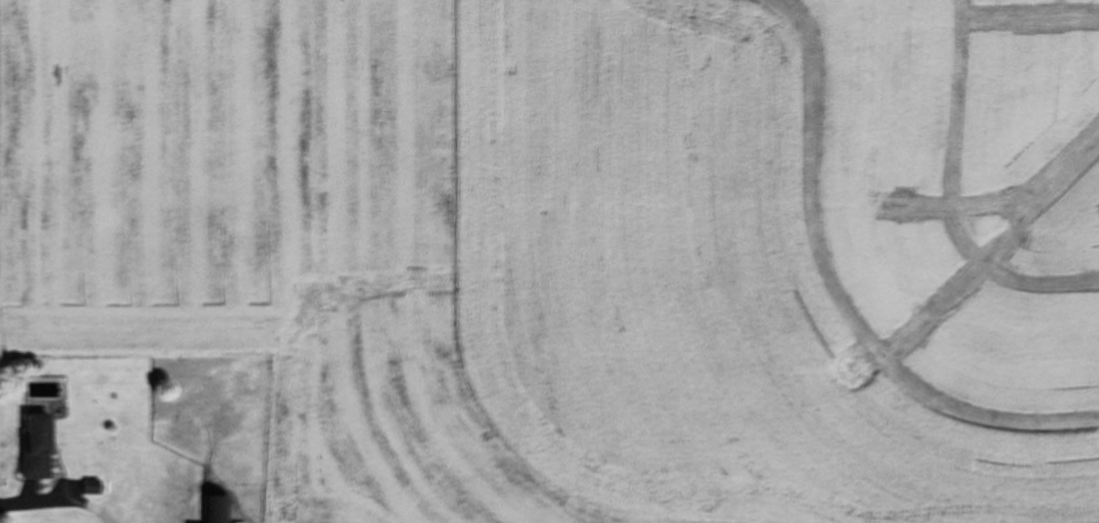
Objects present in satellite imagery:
building: (36, 446)
building: (215, 509)

